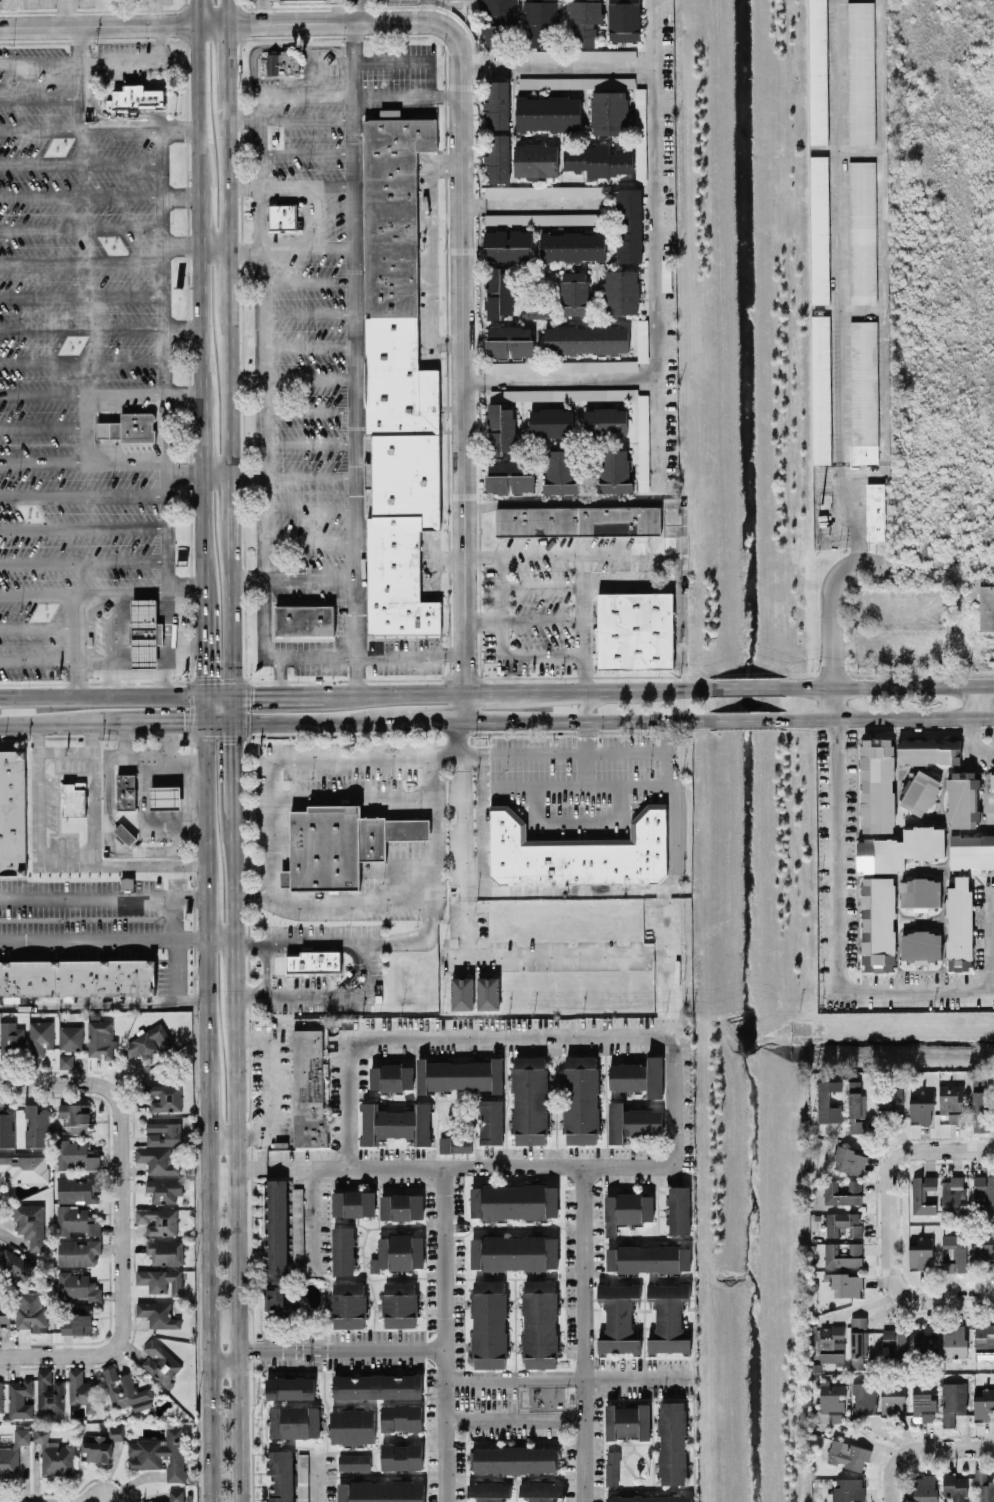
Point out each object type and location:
road: (429, 11)
road: (366, 12)
road: (156, 13)
road: (194, 13)
road: (226, 13)
road: (270, 13)
road: (66, 14)
building: (510, 20)
building: (624, 20)
building: (584, 21)
building: (541, 23)
road: (215, 26)
road: (259, 46)
road: (333, 49)
road: (227, 53)
building: (539, 54)
building: (603, 54)
road: (391, 58)
building: (283, 62)
road: (97, 63)
road: (559, 66)
road: (312, 70)
building: (818, 71)
building: (860, 71)
road: (429, 77)
road: (78, 78)
road: (360, 95)
road: (39, 96)
building: (136, 97)
building: (596, 99)
road: (195, 102)
building: (497, 104)
building: (390, 113)
building: (548, 113)
road: (109, 114)
road: (243, 119)
road: (306, 119)
road: (136, 128)
road: (39, 129)
building: (640, 133)
road: (845, 150)
road: (306, 151)
building: (497, 157)
building: (535, 160)
building: (597, 160)
road: (80, 162)
road: (228, 163)
road: (332, 184)
road: (268, 185)
building: (542, 190)
road: (81, 195)
road: (179, 195)
road: (533, 203)
road: (196, 213)
building: (282, 214)
road: (311, 215)
building: (542, 218)
building: (629, 225)
road: (81, 227)
building: (819, 229)
building: (862, 232)
building: (508, 244)
road: (655, 244)
road: (292, 246)
road: (428, 246)
building: (572, 246)
road: (180, 247)
road: (213, 247)
road: (882, 256)
road: (163, 259)
road: (81, 263)
road: (229, 275)
road: (308, 278)
road: (839, 282)
building: (621, 291)
building: (498, 292)
building: (574, 293)
road: (81, 295)
building: (538, 309)
road: (847, 309)
road: (308, 313)
road: (197, 325)
road: (81, 327)
road: (180, 327)
building: (585, 338)
building: (642, 340)
building: (509, 341)
road: (446, 342)
road: (309, 345)
road: (357, 357)
road: (82, 360)
building: (563, 365)
road: (261, 376)
road: (245, 378)
road: (309, 378)
road: (560, 380)
building: (399, 382)
road: (229, 388)
building: (821, 388)
building: (864, 391)
road: (43, 392)
road: (142, 392)
road: (309, 412)
building: (550, 422)
building: (604, 423)
building: (129, 425)
road: (43, 426)
road: (87, 427)
road: (165, 427)
building: (501, 428)
road: (198, 438)
building: (643, 441)
road: (310, 444)
road: (43, 463)
road: (126, 463)
building: (614, 470)
building: (560, 471)
road: (182, 473)
road: (214, 473)
road: (245, 475)
building: (510, 476)
road: (310, 477)
road: (464, 479)
road: (82, 495)
road: (229, 496)
road: (310, 507)
building: (874, 510)
building: (578, 520)
road: (165, 523)
road: (82, 528)
road: (199, 538)
road: (310, 539)
road: (561, 557)
road: (83, 560)
road: (842, 573)
road: (295, 576)
road: (542, 590)
road: (679, 591)
road: (36, 594)
road: (90, 594)
road: (232, 605)
building: (307, 618)
road: (483, 618)
road: (542, 618)
road: (584, 623)
road: (963, 624)
road: (37, 628)
building: (634, 630)
road: (117, 631)
building: (144, 632)
gas station: (144, 632)
road: (188, 646)
road: (201, 648)
road: (500, 649)
road: (365, 655)
road: (37, 660)
road: (158, 668)
road: (835, 668)
traffic signals: (202, 674)
road: (280, 674)
road: (107, 680)
road: (162, 680)
road: (189, 680)
road: (94, 682)
road: (888, 684)
road: (746, 686)
road: (671, 687)
road: (618, 689)
road: (280, 690)
road: (396, 690)
road: (564, 690)
road: (493, 691)
traffic signals: (253, 692)
road: (100, 693)
road: (217, 693)
road: (975, 698)
road: (590, 701)
road: (202, 707)
road: (233, 707)
road: (247, 707)
road: (886, 715)
road: (746, 718)
road: (436, 719)
road: (588, 719)
road: (321, 720)
traffic signals: (183, 721)
road: (218, 721)
road: (56, 722)
road: (158, 722)
road: (747, 727)
road: (808, 728)
road: (479, 732)
road: (585, 735)
road: (217, 736)
road: (170, 738)
traffic signals: (233, 742)
road: (973, 742)
road: (38, 746)
building: (928, 750)
road: (564, 751)
road: (78, 753)
road: (294, 757)
road: (175, 760)
road: (192, 765)
road: (233, 765)
building: (992, 780)
road: (576, 783)
building: (876, 785)
building: (126, 790)
building: (919, 792)
road: (352, 795)
building: (165, 796)
road: (39, 798)
building: (73, 798)
road: (203, 799)
building: (962, 799)
road: (95, 803)
building: (12, 812)
road: (576, 820)
road: (482, 821)
building: (125, 833)
building: (340, 844)
building: (900, 848)
building: (578, 851)
building: (971, 851)
road: (835, 855)
road: (106, 862)
road: (234, 875)
road: (663, 887)
road: (101, 891)
building: (920, 893)
road: (330, 904)
road: (203, 908)
road: (662, 921)
building: (877, 923)
building: (959, 924)
road: (421, 937)
road: (101, 938)
road: (990, 939)
road: (219, 941)
building: (920, 946)
road: (554, 955)
building: (313, 960)
road: (235, 968)
road: (276, 968)
building: (77, 977)
road: (670, 978)
road: (173, 985)
building: (462, 992)
building: (488, 992)
road: (915, 992)
road: (328, 995)
road: (204, 1009)
road: (194, 1024)
river: (874, 1031)
road: (576, 1034)
building: (11, 1037)
building: (40, 1037)
building: (70, 1037)
building: (100, 1038)
building: (147, 1041)
building: (65, 1061)
building: (460, 1074)
building: (638, 1076)
building: (391, 1077)
road: (56, 1083)
road: (270, 1086)
building: (308, 1087)
building: (164, 1096)
building: (529, 1099)
building: (580, 1099)
building: (828, 1101)
building: (951, 1101)
road: (348, 1102)
building: (888, 1103)
road: (205, 1107)
building: (856, 1107)
building: (921, 1107)
building: (74, 1117)
building: (490, 1121)
building: (631, 1121)
building: (395, 1123)
building: (6, 1126)
building: (36, 1126)
building: (163, 1133)
road: (221, 1135)
building: (455, 1144)
road: (910, 1148)
building: (76, 1154)
building: (156, 1159)
building: (849, 1160)
road: (455, 1165)
building: (25, 1168)
building: (78, 1189)
building: (164, 1189)
building: (842, 1192)
building: (953, 1192)
building: (984, 1192)
building: (922, 1194)
building: (513, 1201)
building: (353, 1203)
building: (401, 1206)
building: (678, 1209)
building: (627, 1210)
road: (123, 1217)
road: (311, 1218)
building: (76, 1220)
building: (158, 1220)
building: (843, 1223)
building: (30, 1224)
building: (277, 1225)
road: (237, 1247)
building: (984, 1249)
building: (343, 1250)
building: (165, 1251)
building: (78, 1252)
building: (398, 1252)
building: (514, 1252)
building: (954, 1252)
building: (921, 1253)
building: (843, 1255)
building: (648, 1258)
building: (16, 1264)
building: (160, 1279)
building: (845, 1284)
building: (77, 1286)
road: (909, 1295)
building: (277, 1300)
building: (348, 1304)
building: (399, 1304)
building: (31, 1310)
building: (157, 1314)
building: (618, 1317)
building: (668, 1317)
road: (206, 1318)
building: (78, 1320)
building: (489, 1323)
building: (539, 1323)
road: (582, 1333)
road: (444, 1334)
building: (927, 1337)
building: (954, 1339)
building: (858, 1340)
building: (895, 1340)
building: (984, 1342)
building: (831, 1344)
road: (341, 1349)
road: (223, 1352)
road: (59, 1355)
building: (160, 1361)
road: (570, 1376)
building: (377, 1386)
building: (290, 1387)
building: (83, 1390)
building: (125, 1390)
building: (49, 1392)
building: (1, 1396)
building: (892, 1397)
building: (19, 1398)
building: (924, 1400)
building: (831, 1401)
building: (863, 1401)
building: (953, 1401)
building: (984, 1404)
building: (401, 1417)
road: (514, 1417)
building: (627, 1420)
building: (294, 1421)
building: (352, 1426)
building: (672, 1442)
building: (101, 1444)
road: (919, 1447)
building: (13, 1452)
building: (159, 1452)
building: (54, 1454)
building: (847, 1454)
building: (401, 1456)
building: (516, 1459)
building: (353, 1461)
building: (612, 1467)
building: (281, 1474)
road: (313, 1476)
building: (302, 1477)
building: (983, 1486)
building: (953, 1487)
building: (848, 1488)
building: (924, 1488)
building: (540, 1490)
building: (380, 1491)
building: (488, 1491)
building: (176, 1495)
building: (649, 1498)

